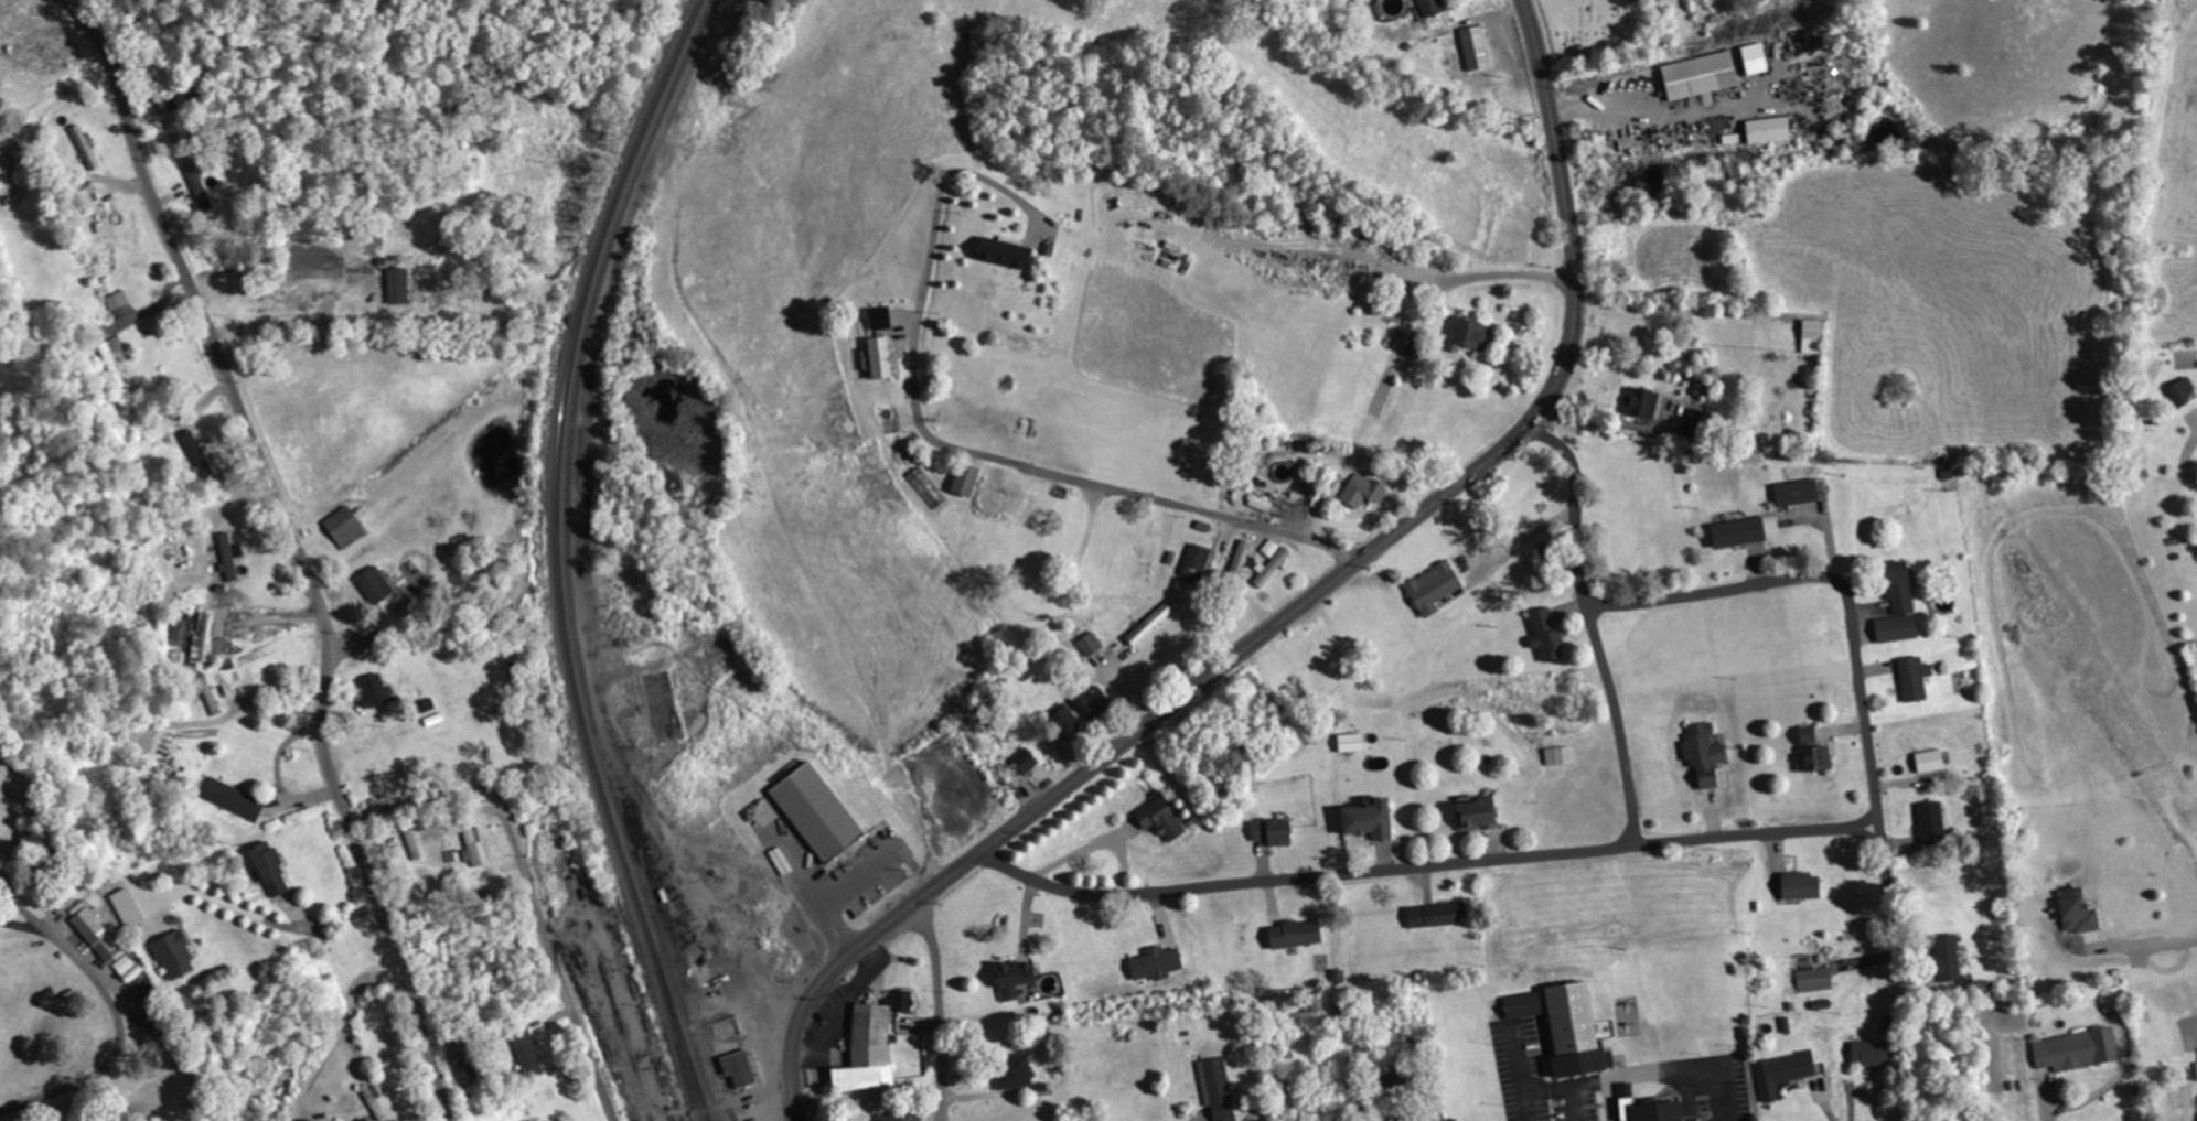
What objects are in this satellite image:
building: (1436, 7)
building: (1478, 48)
building: (1758, 58)
building: (1703, 75)
building: (1771, 130)
building: (87, 147)
building: (1, 153)
building: (4, 173)
building: (200, 184)
building: (1008, 254)
building: (399, 285)
building: (119, 300)
building: (883, 317)
building: (1468, 335)
building: (1814, 335)
building: (1405, 338)
building: (883, 358)
building: (114, 362)
building: (1702, 387)
building: (2184, 391)
building: (1643, 400)
building: (199, 454)
building: (967, 479)
building: (929, 486)
building: (1365, 489)
road: (1125, 492)
building: (1800, 492)
building: (1263, 503)
building: (346, 526)
building: (1741, 531)
road: (298, 543)
building: (1273, 547)
building: (229, 556)
building: (1244, 556)
railway: (560, 559)
railway: (571, 559)
building: (1199, 562)
building: (1276, 565)
road: (1831, 578)
building: (376, 584)
building: (1436, 586)
building: (1900, 603)
road: (1293, 613)
building: (1153, 623)
road: (1593, 625)
building: (1548, 634)
building: (208, 635)
building: (1093, 643)
building: (1917, 677)
building: (375, 690)
building: (211, 693)
building: (1096, 703)
building: (1067, 720)
building: (1811, 734)
building: (1354, 741)
building: (1706, 753)
building: (1561, 755)
building: (1820, 757)
building: (1932, 759)
building: (1027, 761)
building: (234, 799)
building: (819, 811)
building: (1480, 812)
building: (1162, 816)
building: (1372, 818)
building: (1935, 821)
building: (1276, 831)
road: (1755, 832)
building: (415, 845)
building: (474, 845)
building: (271, 869)
road: (1303, 877)
building: (1804, 885)
road: (532, 888)
road: (1888, 888)
building: (129, 907)
building: (2080, 910)
building: (1439, 914)
building: (97, 931)
building: (1298, 934)
building: (176, 955)
building: (1951, 957)
building: (1159, 962)
building: (127, 964)
building: (1018, 977)
building: (1816, 979)
building: (2115, 998)
building: (1526, 1004)
road: (940, 1009)
road: (118, 1014)
building: (1578, 1030)
building: (875, 1043)
building: (2080, 1049)
building: (1875, 1052)
building: (529, 1053)
railway: (683, 1056)
building: (464, 1058)
building: (741, 1067)
building: (1016, 1070)
building: (1785, 1071)
building: (1219, 1088)
building: (376, 1101)
building: (1657, 1108)
railway: (732, 1114)
building: (904, 1115)

